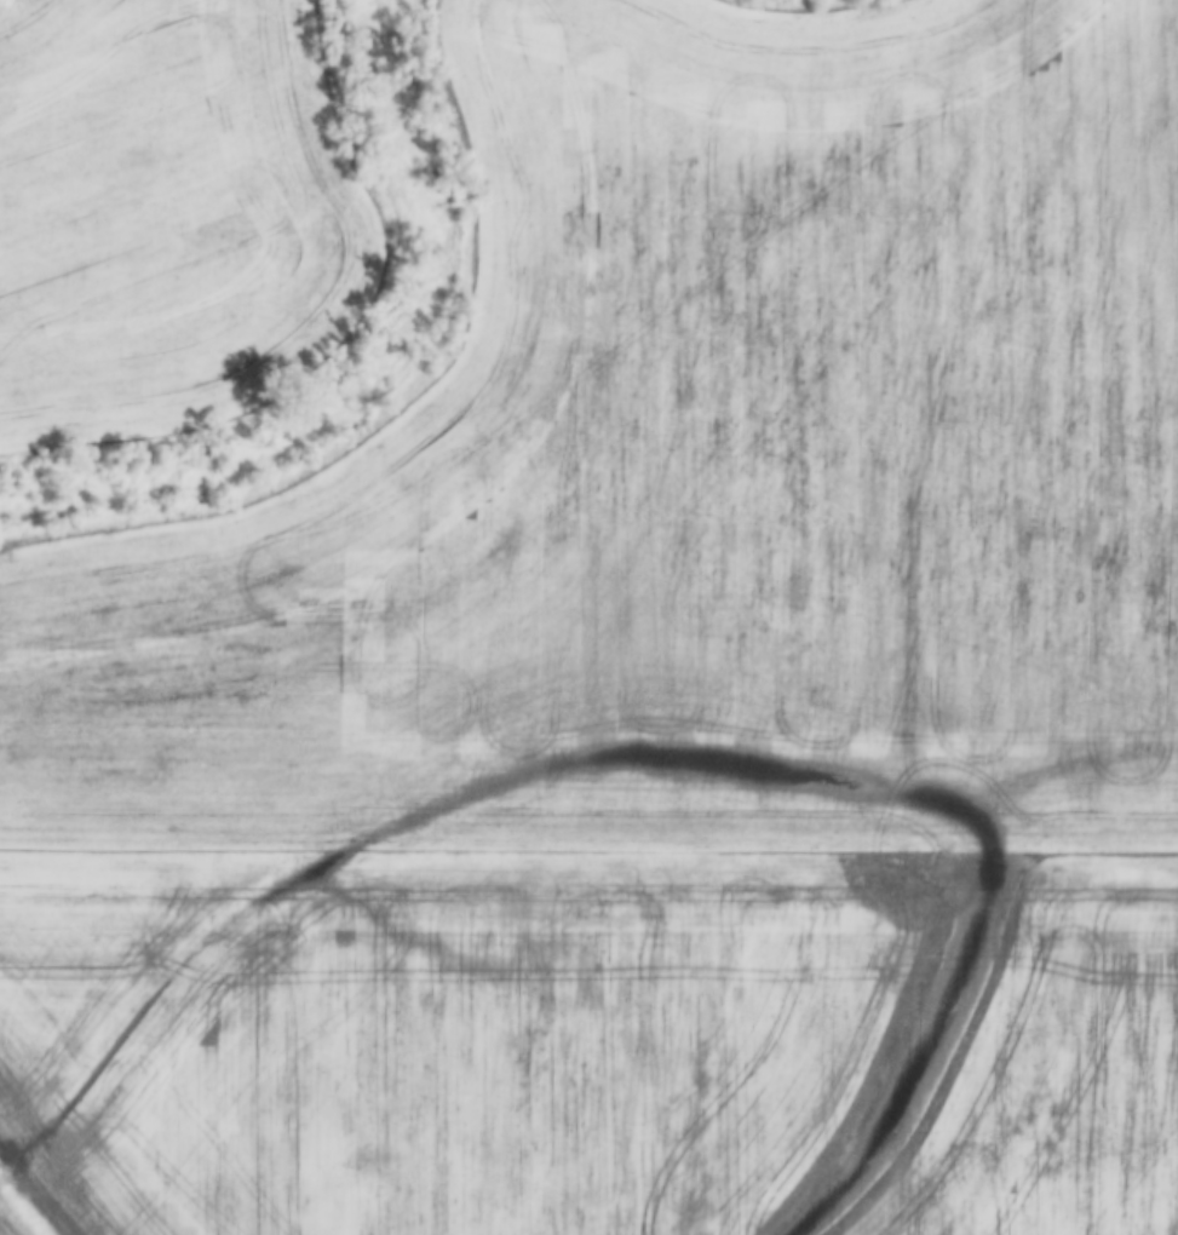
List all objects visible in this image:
crop: (165, 214)
crop: (699, 471)
crop: (447, 1027)
crop: (1061, 1065)

